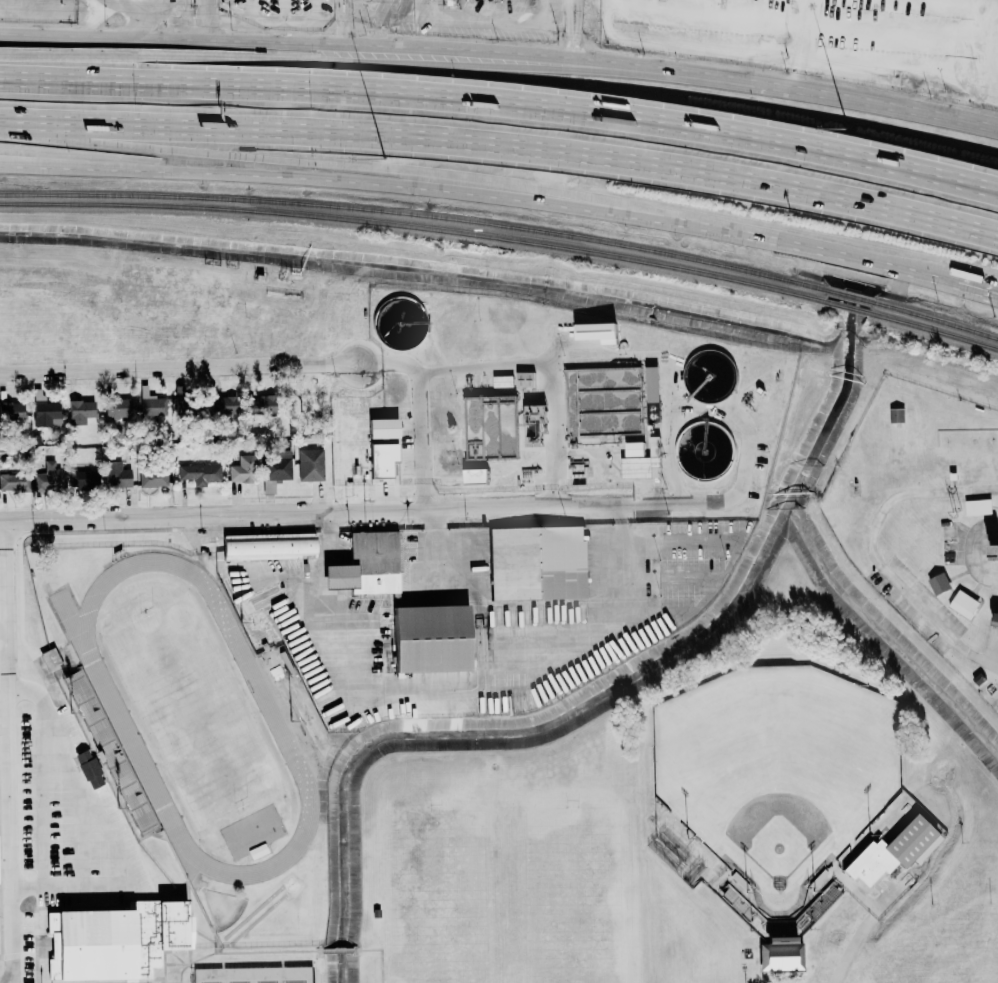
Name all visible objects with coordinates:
road: (250, 7)
road: (339, 10)
road: (348, 10)
road: (285, 11)
road: (315, 11)
parking lot: (403, 19)
road: (205, 22)
road: (282, 22)
road: (573, 33)
road: (342, 36)
road: (171, 41)
road: (572, 49)
road: (170, 54)
road: (671, 76)
road: (503, 106)
road: (503, 146)
road: (317, 161)
road: (317, 177)
railway: (418, 215)
railway: (416, 227)
road: (796, 243)
road: (978, 290)
railway: (852, 295)
railway: (851, 307)
building: (348, 316)
railway: (936, 318)
railway: (936, 330)
building: (597, 331)
road: (548, 367)
road: (207, 368)
building: (525, 379)
building: (503, 381)
building: (652, 383)
wastewater plant: (573, 394)
building: (221, 403)
building: (150, 406)
building: (117, 408)
building: (43, 409)
building: (12, 410)
building: (80, 411)
building: (897, 414)
building: (534, 424)
building: (383, 427)
road: (419, 438)
building: (382, 458)
building: (643, 463)
building: (310, 464)
building: (243, 469)
building: (276, 470)
building: (200, 473)
building: (116, 475)
building: (153, 477)
building: (49, 478)
building: (85, 480)
building: (15, 481)
building: (477, 481)
building: (978, 507)
road: (362, 510)
building: (268, 546)
road: (874, 553)
building: (537, 563)
building: (367, 564)
building: (939, 583)
road: (470, 591)
building: (964, 603)
building: (996, 617)
building: (430, 638)
building: (50, 659)
road: (460, 683)
track: (119, 713)
building: (106, 750)
road: (8, 753)
park: (777, 770)
stadium: (784, 796)
building: (892, 850)
road: (862, 894)
building: (820, 905)
road: (861, 933)
building: (115, 940)
building: (782, 955)
park: (255, 974)

